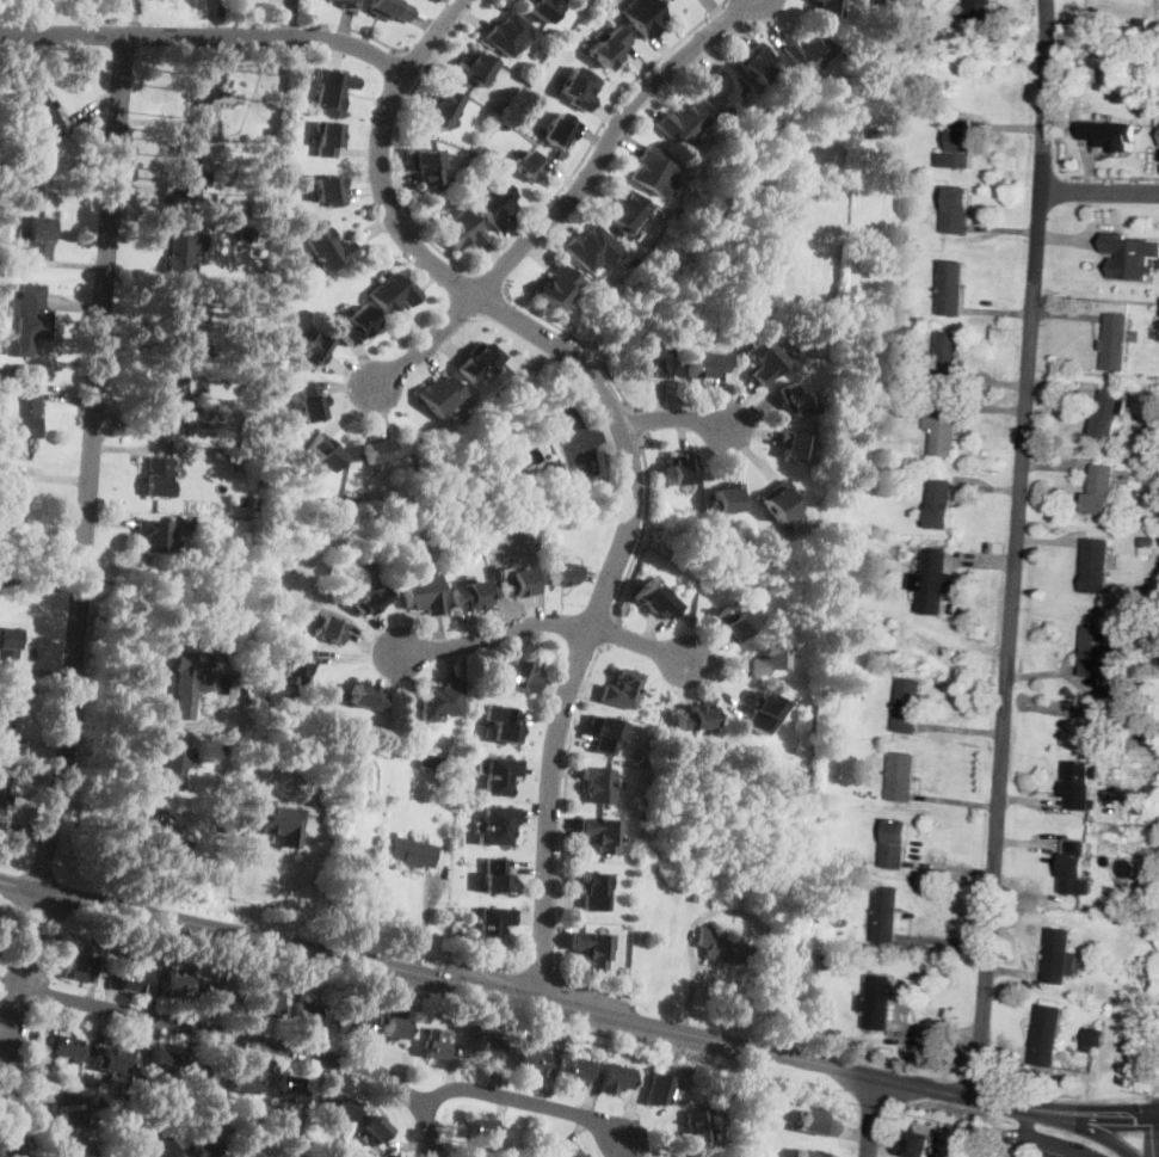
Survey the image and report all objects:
building: (666, 0)
building: (874, 0)
building: (953, 1)
building: (349, 4)
building: (827, 7)
building: (543, 8)
building: (389, 10)
building: (979, 13)
building: (642, 17)
building: (1141, 20)
road: (356, 31)
road: (205, 35)
building: (508, 35)
building: (609, 48)
building: (536, 53)
building: (808, 54)
road: (420, 55)
building: (757, 62)
building: (473, 69)
building: (333, 88)
building: (579, 88)
building: (721, 92)
building: (304, 99)
building: (204, 103)
building: (443, 107)
building: (43, 115)
building: (519, 119)
building: (504, 123)
building: (682, 123)
building: (254, 130)
building: (559, 130)
building: (277, 134)
building: (1110, 135)
building: (328, 137)
road: (606, 143)
building: (958, 144)
building: (426, 166)
building: (529, 166)
building: (29, 167)
building: (181, 171)
building: (653, 171)
road: (1115, 177)
building: (329, 190)
road: (1099, 191)
building: (255, 198)
building: (495, 204)
building: (956, 209)
building: (628, 213)
building: (461, 230)
building: (245, 232)
building: (39, 235)
road: (513, 235)
building: (592, 247)
building: (327, 248)
building: (178, 254)
building: (1129, 256)
building: (631, 261)
road: (491, 279)
building: (557, 287)
building: (953, 288)
building: (393, 293)
building: (30, 318)
building: (178, 324)
building: (357, 325)
road: (575, 339)
building: (1115, 341)
road: (426, 345)
building: (314, 350)
building: (855, 353)
building: (947, 358)
building: (654, 361)
building: (765, 361)
building: (477, 362)
building: (266, 363)
building: (705, 364)
building: (439, 395)
building: (173, 399)
building: (258, 400)
building: (796, 400)
building: (309, 402)
building: (25, 413)
building: (1109, 413)
building: (857, 417)
road: (677, 419)
road: (639, 425)
building: (942, 426)
road: (581, 433)
road: (603, 433)
road: (625, 441)
building: (795, 445)
building: (323, 449)
building: (378, 449)
building: (242, 460)
road: (92, 462)
building: (680, 469)
building: (555, 470)
building: (1154, 476)
building: (159, 478)
building: (861, 478)
building: (1101, 490)
building: (11, 497)
building: (727, 498)
building: (779, 500)
building: (347, 503)
building: (939, 503)
road: (641, 529)
building: (154, 534)
building: (1147, 540)
road: (1015, 549)
building: (1146, 550)
building: (1097, 565)
building: (562, 576)
building: (933, 581)
building: (518, 583)
building: (421, 593)
building: (469, 596)
building: (654, 599)
building: (370, 601)
building: (729, 623)
building: (329, 629)
road: (608, 632)
road: (493, 633)
road: (639, 644)
building: (8, 646)
building: (766, 659)
building: (1099, 659)
building: (239, 660)
building: (297, 666)
building: (519, 676)
building: (189, 681)
building: (622, 689)
building: (366, 697)
building: (440, 701)
building: (908, 706)
building: (6, 710)
building: (762, 713)
building: (695, 718)
building: (821, 725)
building: (505, 726)
building: (605, 734)
building: (222, 744)
building: (431, 761)
building: (454, 765)
building: (172, 768)
building: (500, 775)
building: (902, 776)
building: (598, 783)
building: (1080, 786)
building: (2, 787)
building: (277, 821)
building: (224, 824)
building: (498, 825)
building: (600, 833)
road: (563, 838)
building: (160, 843)
building: (895, 843)
building: (412, 853)
building: (1075, 868)
building: (1136, 874)
building: (495, 876)
building: (592, 892)
building: (1134, 901)
building: (807, 915)
building: (886, 915)
building: (736, 918)
building: (1122, 921)
building: (495, 925)
road: (47, 946)
building: (592, 948)
building: (722, 948)
building: (1059, 955)
building: (813, 959)
building: (79, 967)
building: (134, 978)
road: (10, 984)
building: (174, 985)
road: (42, 993)
road: (516, 993)
building: (218, 996)
building: (876, 1003)
building: (265, 1004)
building: (302, 1013)
road: (11, 1021)
building: (352, 1024)
building: (394, 1028)
building: (1046, 1034)
road: (252, 1040)
building: (1089, 1041)
building: (434, 1044)
building: (67, 1047)
building: (486, 1047)
building: (532, 1059)
building: (111, 1061)
building: (159, 1061)
building: (577, 1070)
building: (201, 1072)
road: (30, 1078)
building: (616, 1078)
building: (241, 1081)
building: (290, 1088)
building: (661, 1089)
road: (1158, 1090)
building: (719, 1091)
road: (526, 1102)
building: (341, 1109)
road: (1064, 1110)
road: (1128, 1114)
road: (1142, 1114)
building: (69, 1115)
road: (869, 1115)
building: (815, 1124)
building: (697, 1126)
building: (480, 1127)
road: (1084, 1127)
building: (377, 1131)
road: (1149, 1136)
road: (1047, 1140)
building: (917, 1145)
road: (7, 1146)
building: (204, 1146)
building: (159, 1149)
building: (79, 1150)
building: (252, 1152)
building: (571, 1153)
building: (810, 1153)
building: (388, 1155)

